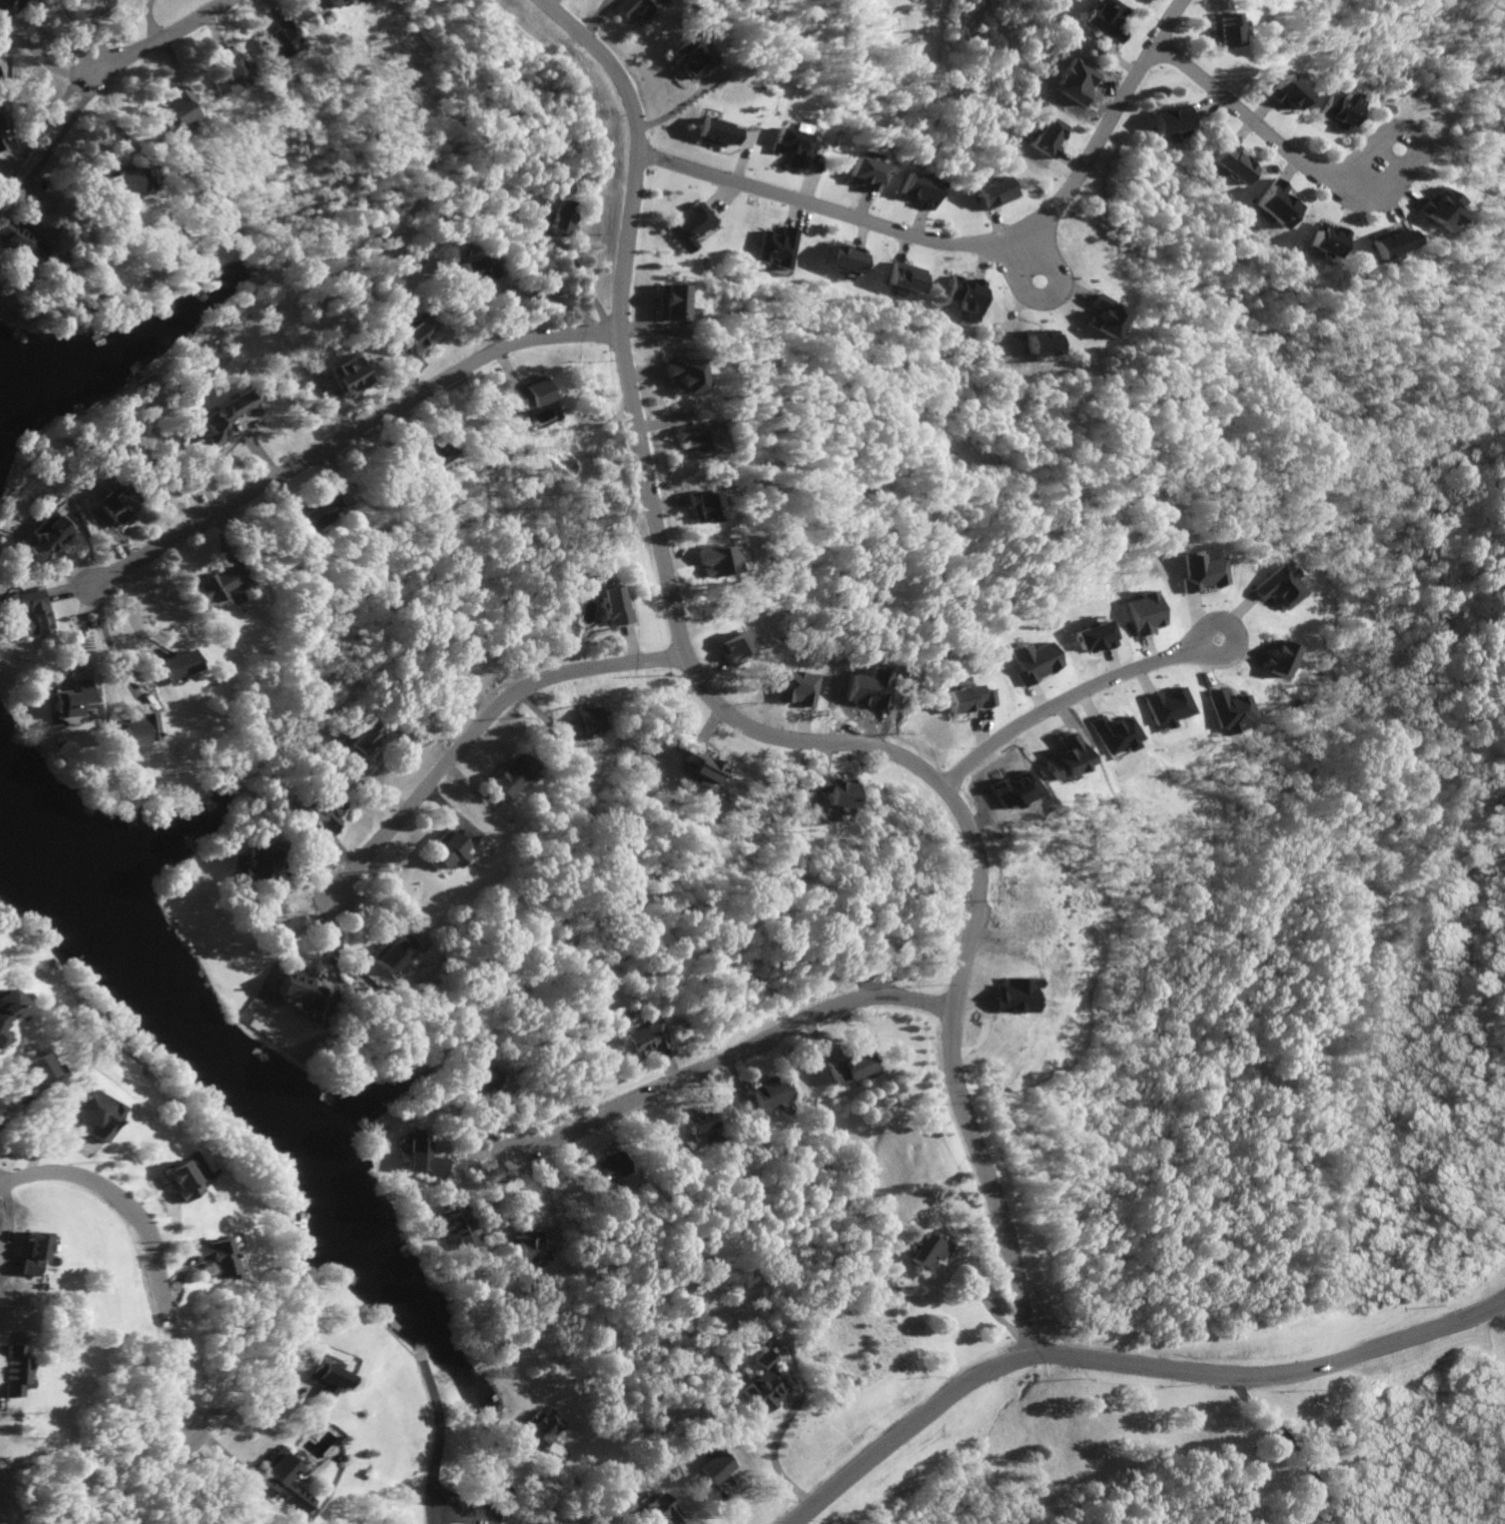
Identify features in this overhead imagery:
building: (329, 2)
building: (9, 5)
building: (636, 9)
building: (1105, 20)
building: (1221, 31)
road: (158, 38)
building: (272, 40)
road: (35, 56)
building: (687, 57)
building: (221, 72)
building: (1283, 94)
building: (1339, 112)
building: (169, 115)
building: (0, 119)
building: (1166, 120)
building: (717, 133)
road: (59, 137)
building: (1042, 138)
building: (2, 141)
building: (790, 147)
building: (1228, 164)
road: (1350, 164)
building: (860, 174)
building: (116, 184)
building: (916, 191)
building: (991, 194)
building: (1270, 206)
building: (1430, 211)
building: (560, 223)
building: (686, 228)
building: (1320, 240)
building: (20, 241)
road: (965, 244)
building: (1383, 244)
building: (769, 249)
building: (838, 259)
building: (477, 270)
building: (902, 278)
building: (964, 297)
road: (1040, 302)
building: (662, 304)
building: (1094, 317)
building: (410, 337)
building: (1032, 344)
building: (347, 376)
building: (675, 378)
building: (526, 395)
building: (223, 418)
road: (346, 433)
building: (690, 440)
building: (419, 452)
building: (113, 504)
building: (696, 508)
building: (309, 513)
building: (46, 535)
building: (709, 559)
building: (1196, 571)
building: (208, 584)
building: (1276, 587)
building: (610, 605)
building: (1139, 612)
building: (32, 613)
building: (1088, 636)
road: (108, 644)
building: (727, 644)
road: (1209, 657)
building: (1028, 661)
building: (1272, 661)
building: (172, 664)
building: (791, 688)
building: (70, 699)
building: (963, 699)
road: (1060, 699)
building: (1159, 706)
building: (1215, 708)
building: (583, 720)
road: (477, 724)
road: (751, 727)
building: (132, 730)
building: (1107, 734)
building: (360, 744)
building: (1055, 759)
building: (699, 768)
building: (505, 777)
building: (830, 790)
building: (324, 812)
building: (438, 850)
building: (385, 954)
building: (298, 993)
building: (1004, 995)
building: (3, 1005)
building: (644, 1039)
road: (729, 1055)
building: (850, 1066)
building: (23, 1067)
building: (482, 1076)
building: (767, 1093)
building: (76, 1113)
building: (694, 1121)
building: (423, 1155)
building: (608, 1167)
building: (161, 1181)
building: (453, 1227)
building: (524, 1248)
building: (16, 1253)
building: (923, 1253)
road: (140, 1255)
building: (201, 1258)
road: (986, 1307)
building: (5, 1372)
road: (1275, 1376)
building: (320, 1381)
building: (761, 1384)
road: (246, 1418)
road: (906, 1427)
building: (540, 1430)
road: (780, 1431)
road: (1285, 1437)
building: (714, 1469)
building: (266, 1478)
road: (578, 1502)
building: (660, 1511)

